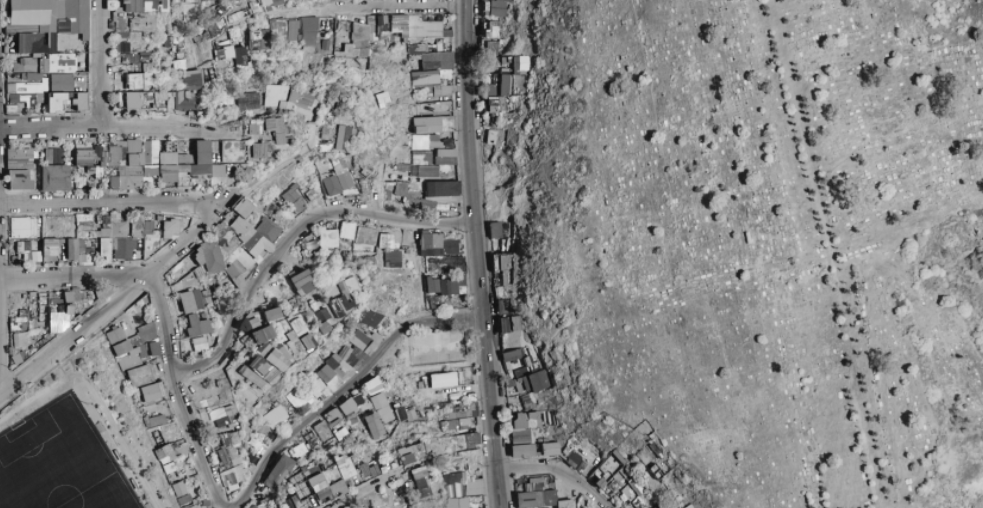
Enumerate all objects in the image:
track: (97, 399)
park: (79, 438)
park: (62, 461)
park: (385, 492)

